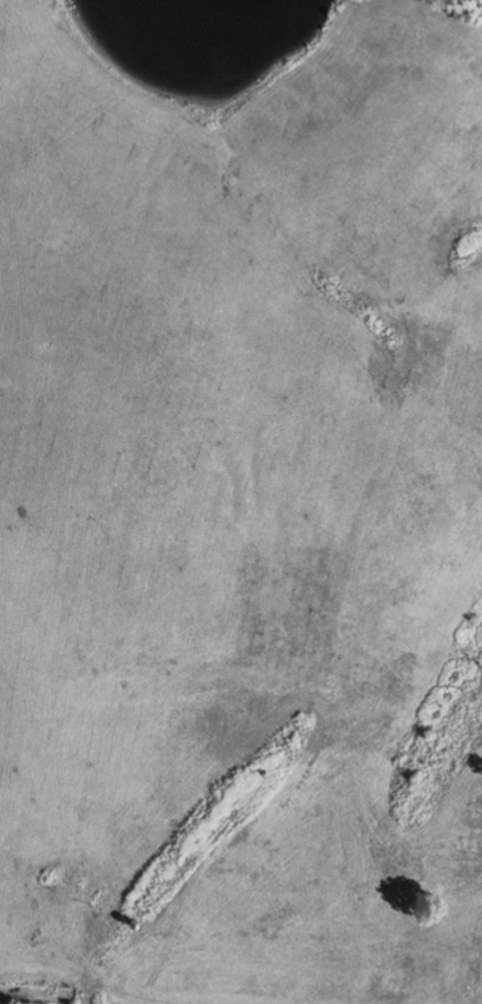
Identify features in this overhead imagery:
road: (478, 992)

